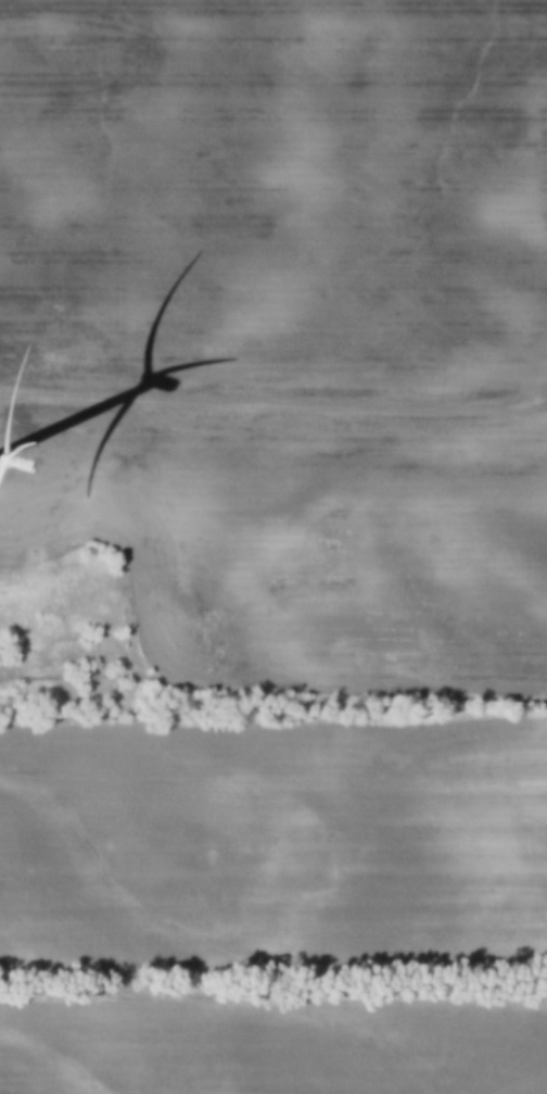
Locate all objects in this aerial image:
road: (273, 404)

